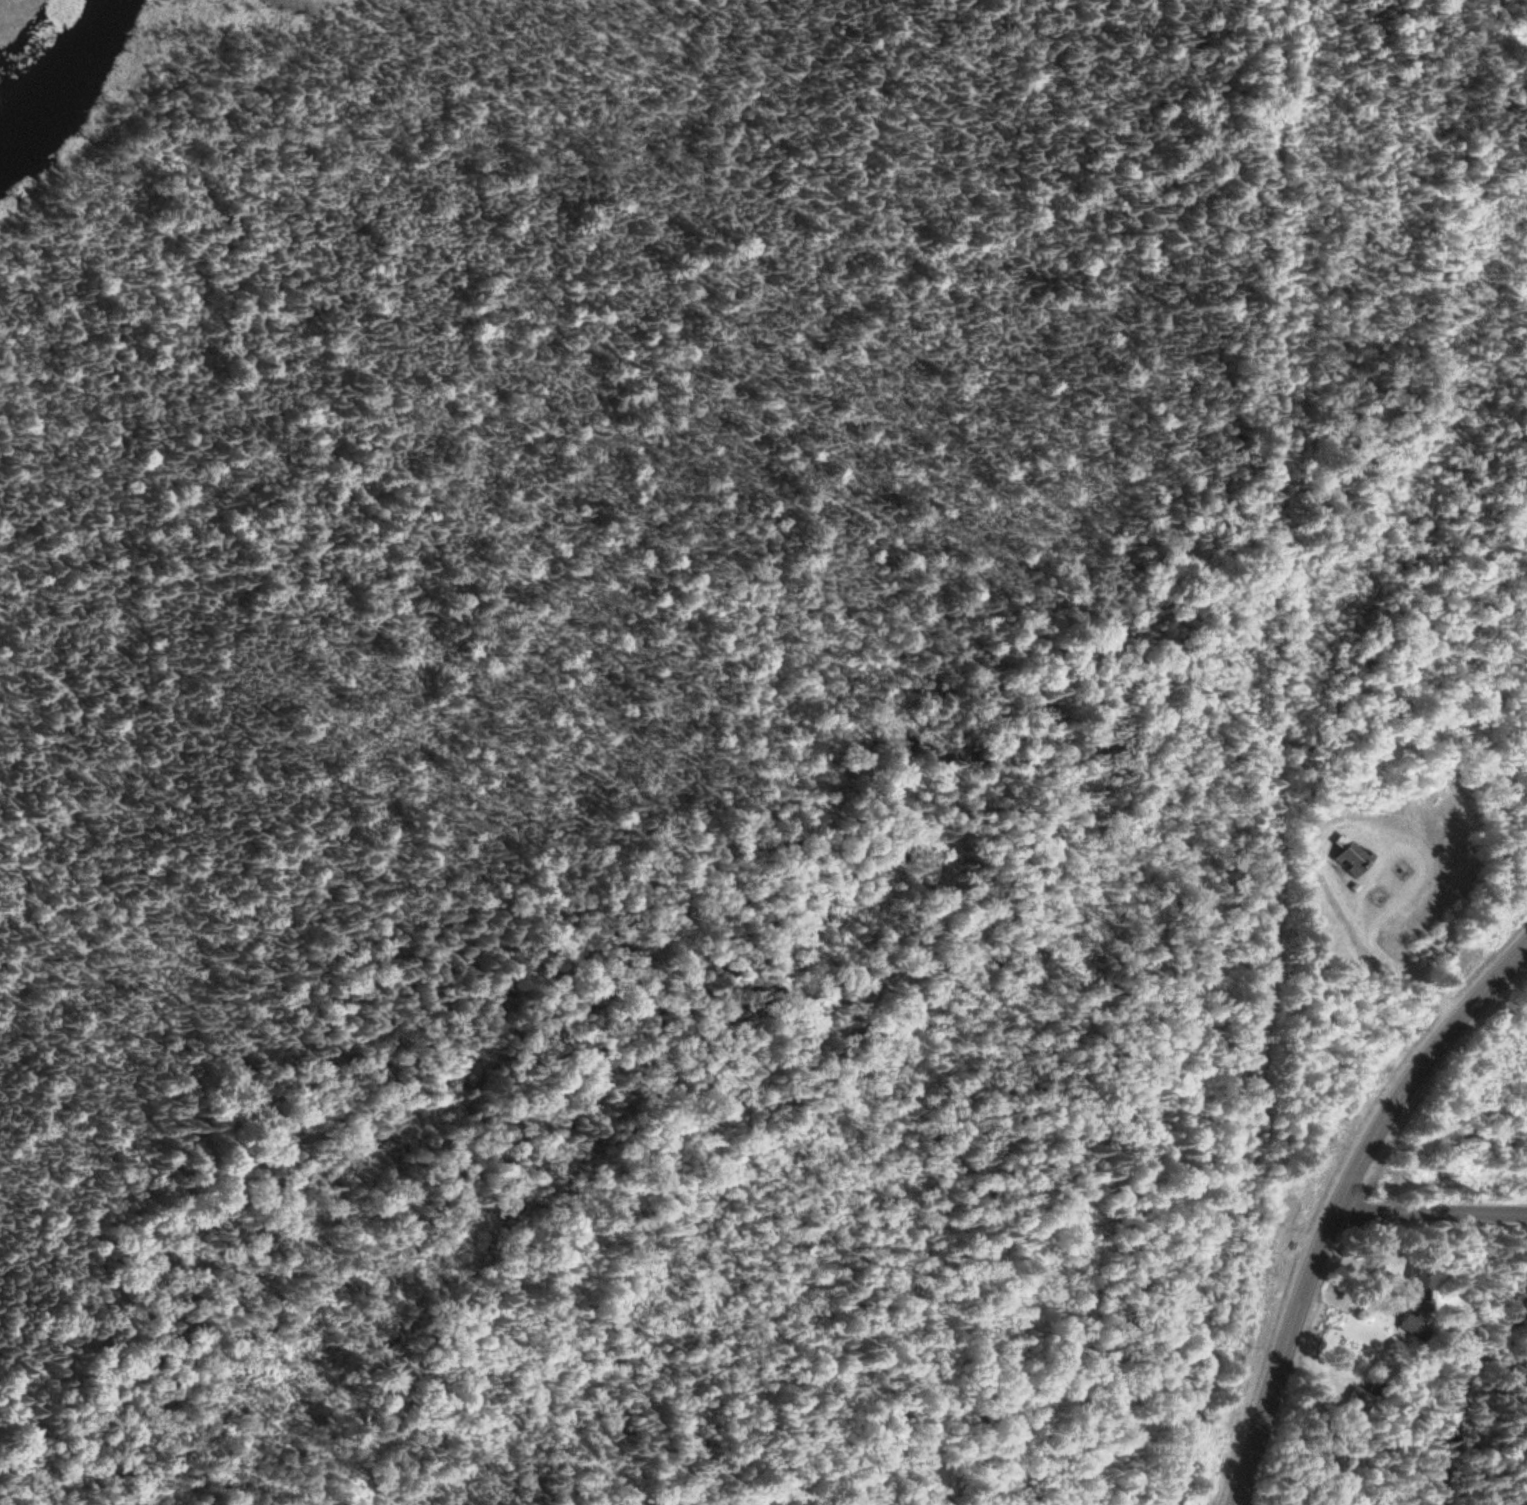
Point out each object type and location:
river: (53, 75)
road: (1275, 758)
building: (1347, 860)
road: (1338, 1202)
road: (1430, 1214)
building: (1417, 1282)
building: (1415, 1323)
building: (1356, 1403)

